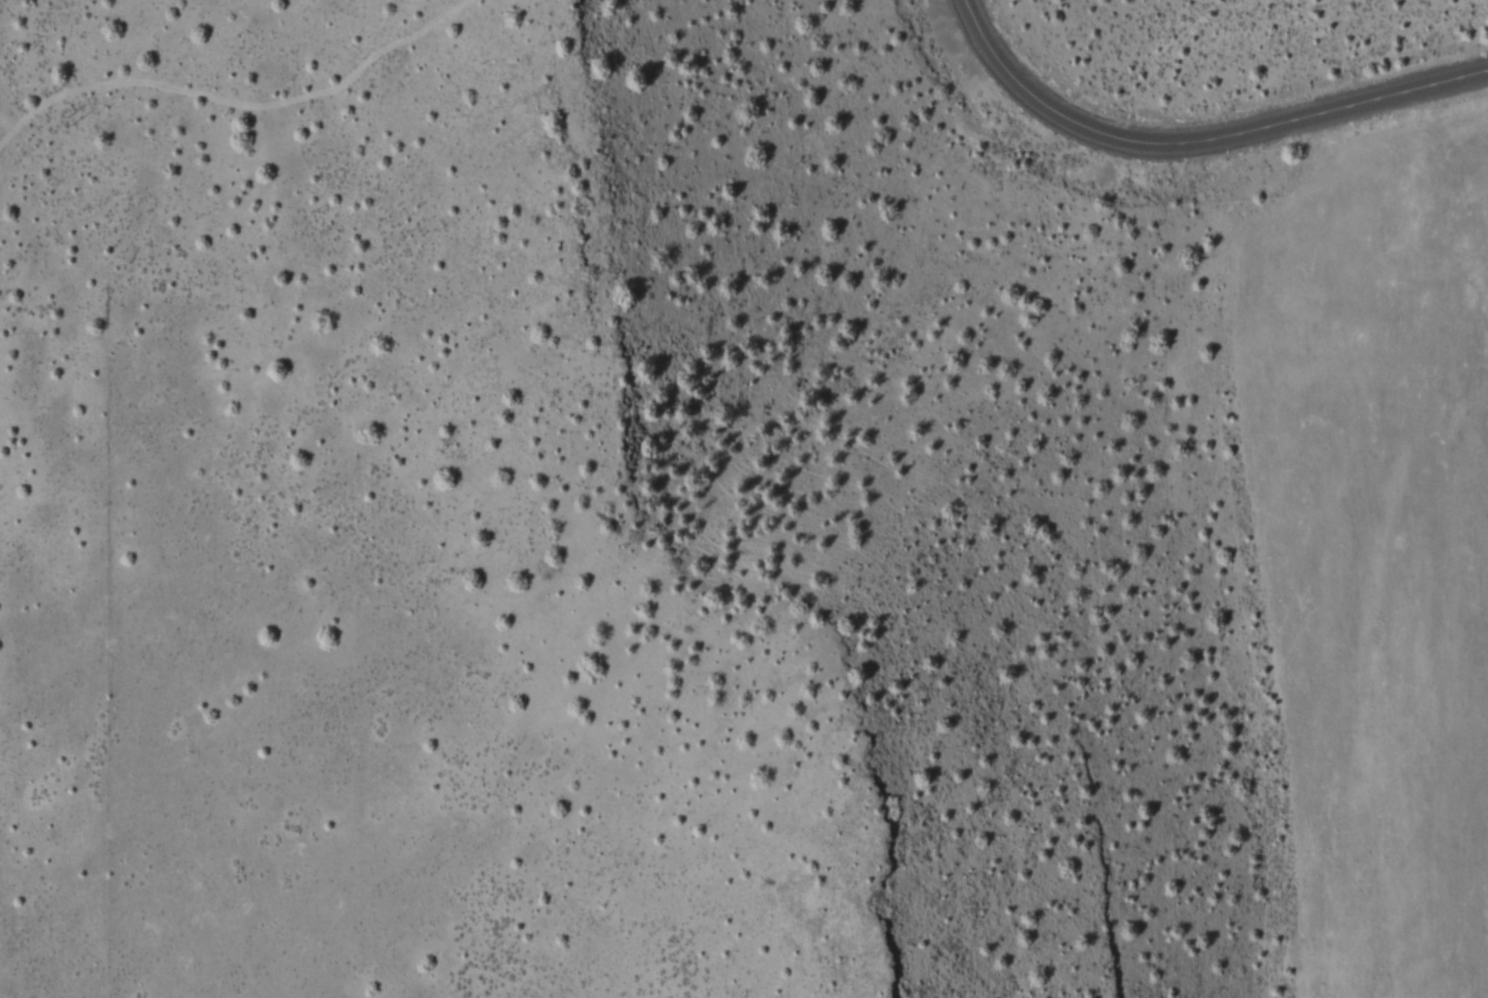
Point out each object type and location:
road: (1198, 142)

